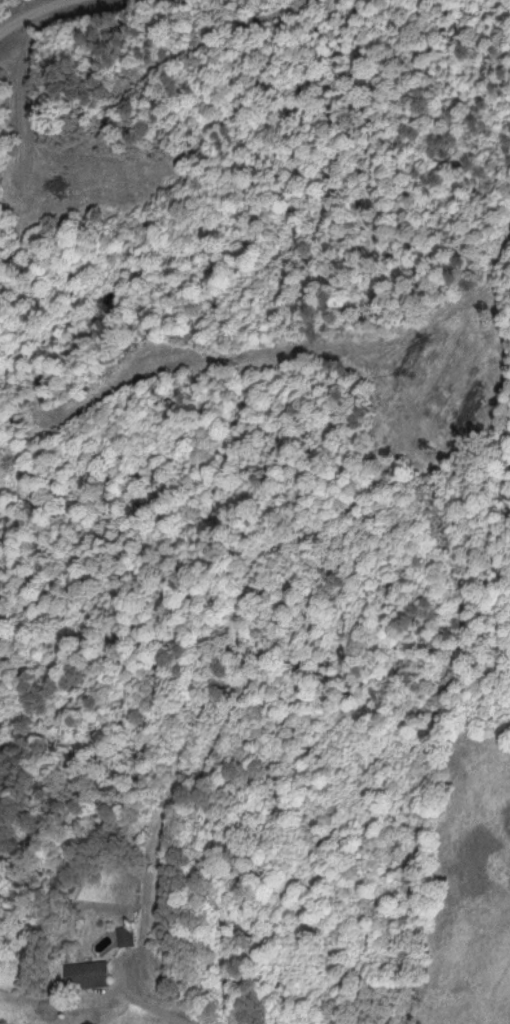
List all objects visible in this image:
building: (123, 935)
building: (85, 973)
road: (153, 1006)

